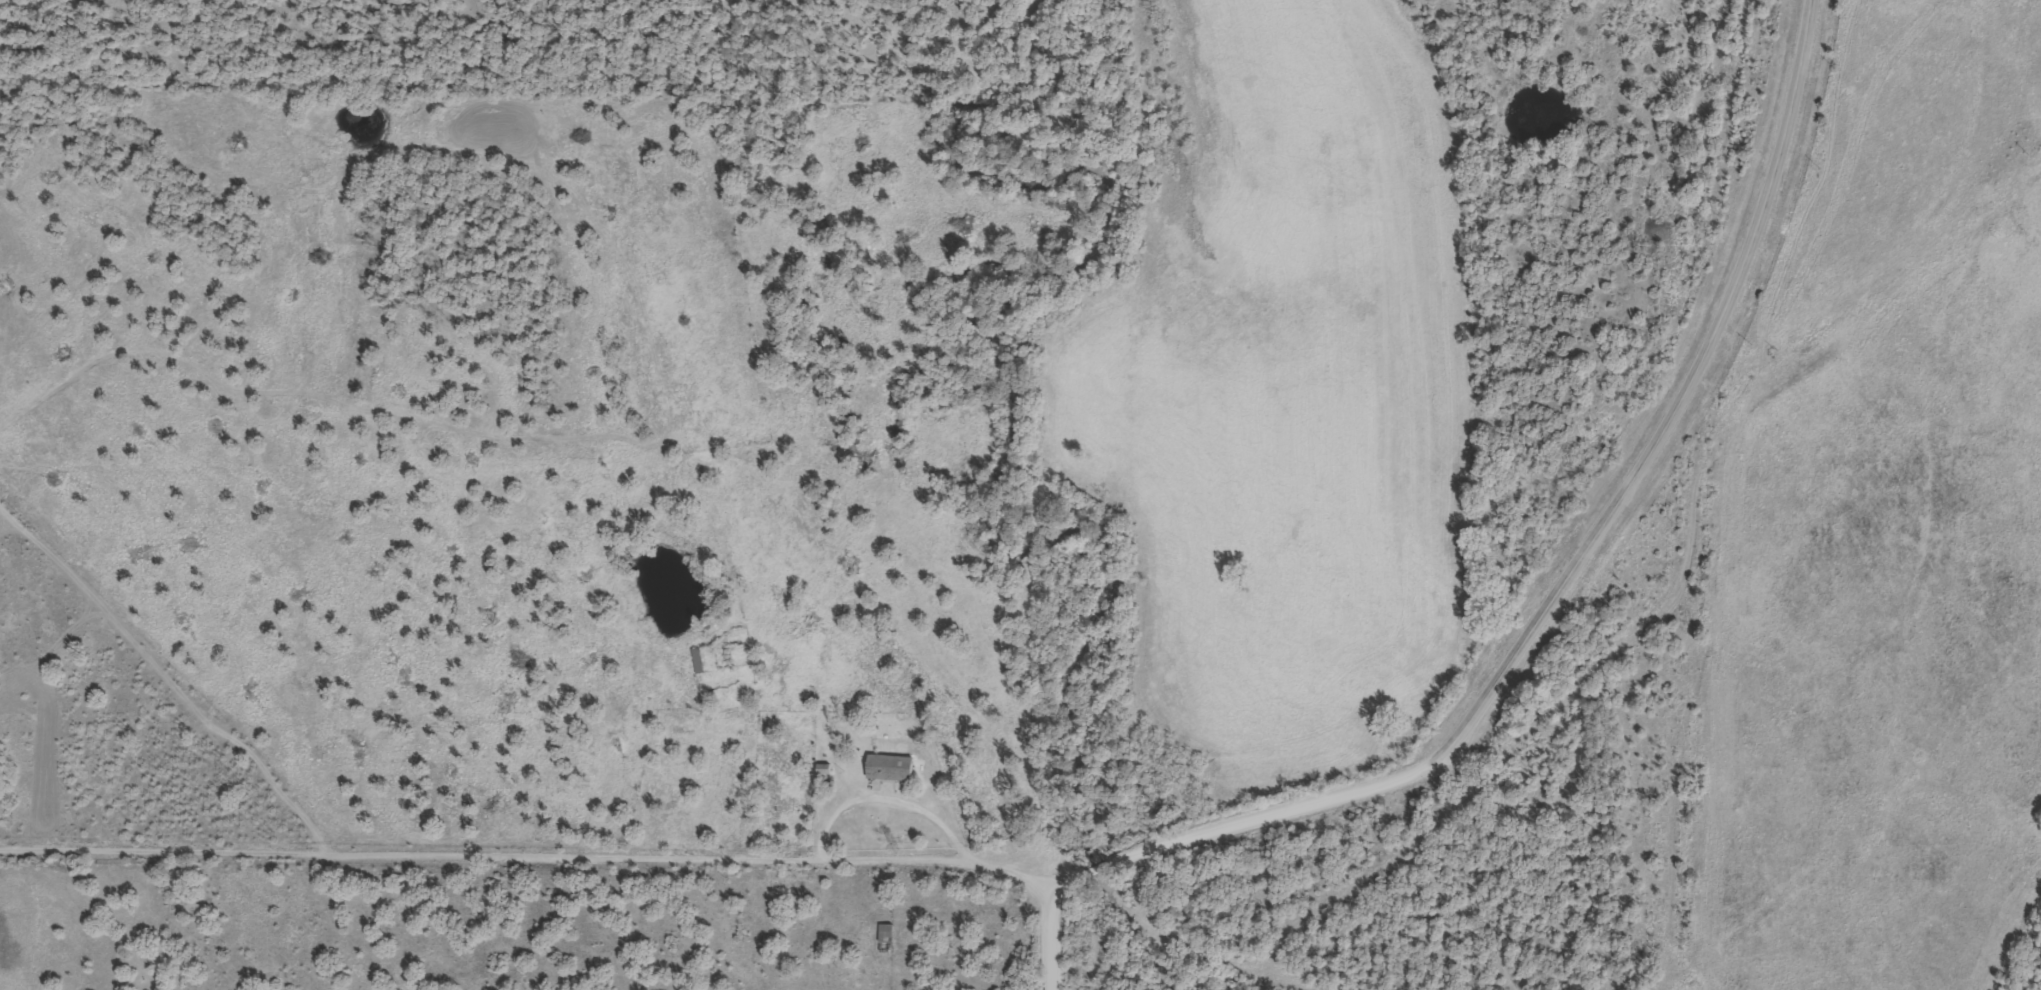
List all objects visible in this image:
road: (1678, 409)
building: (697, 662)
building: (890, 771)
building: (822, 772)
road: (856, 804)
road: (1275, 810)
road: (1095, 867)
road: (1046, 928)
building: (886, 939)

